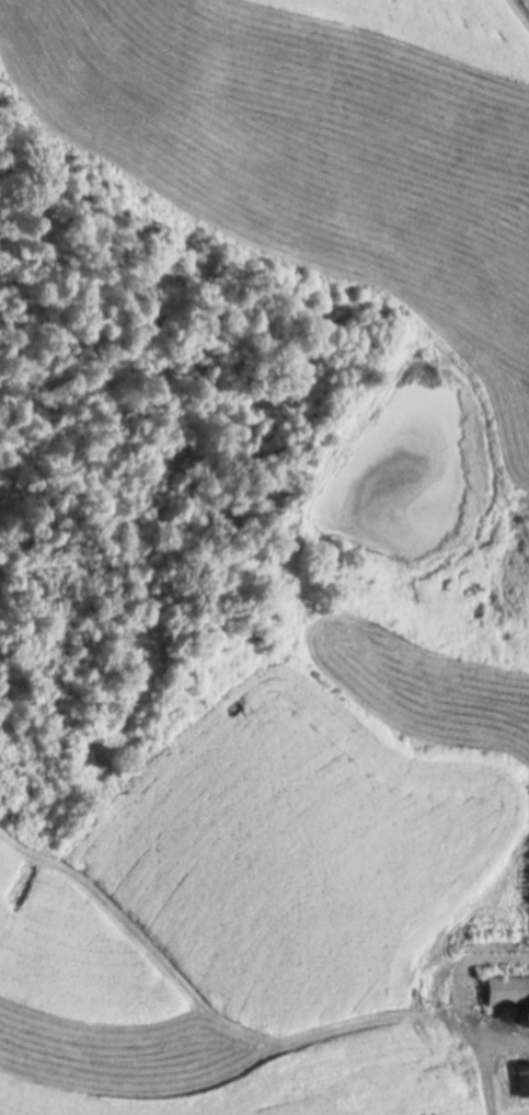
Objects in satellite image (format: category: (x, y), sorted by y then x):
building: (510, 990)
road: (490, 1103)

